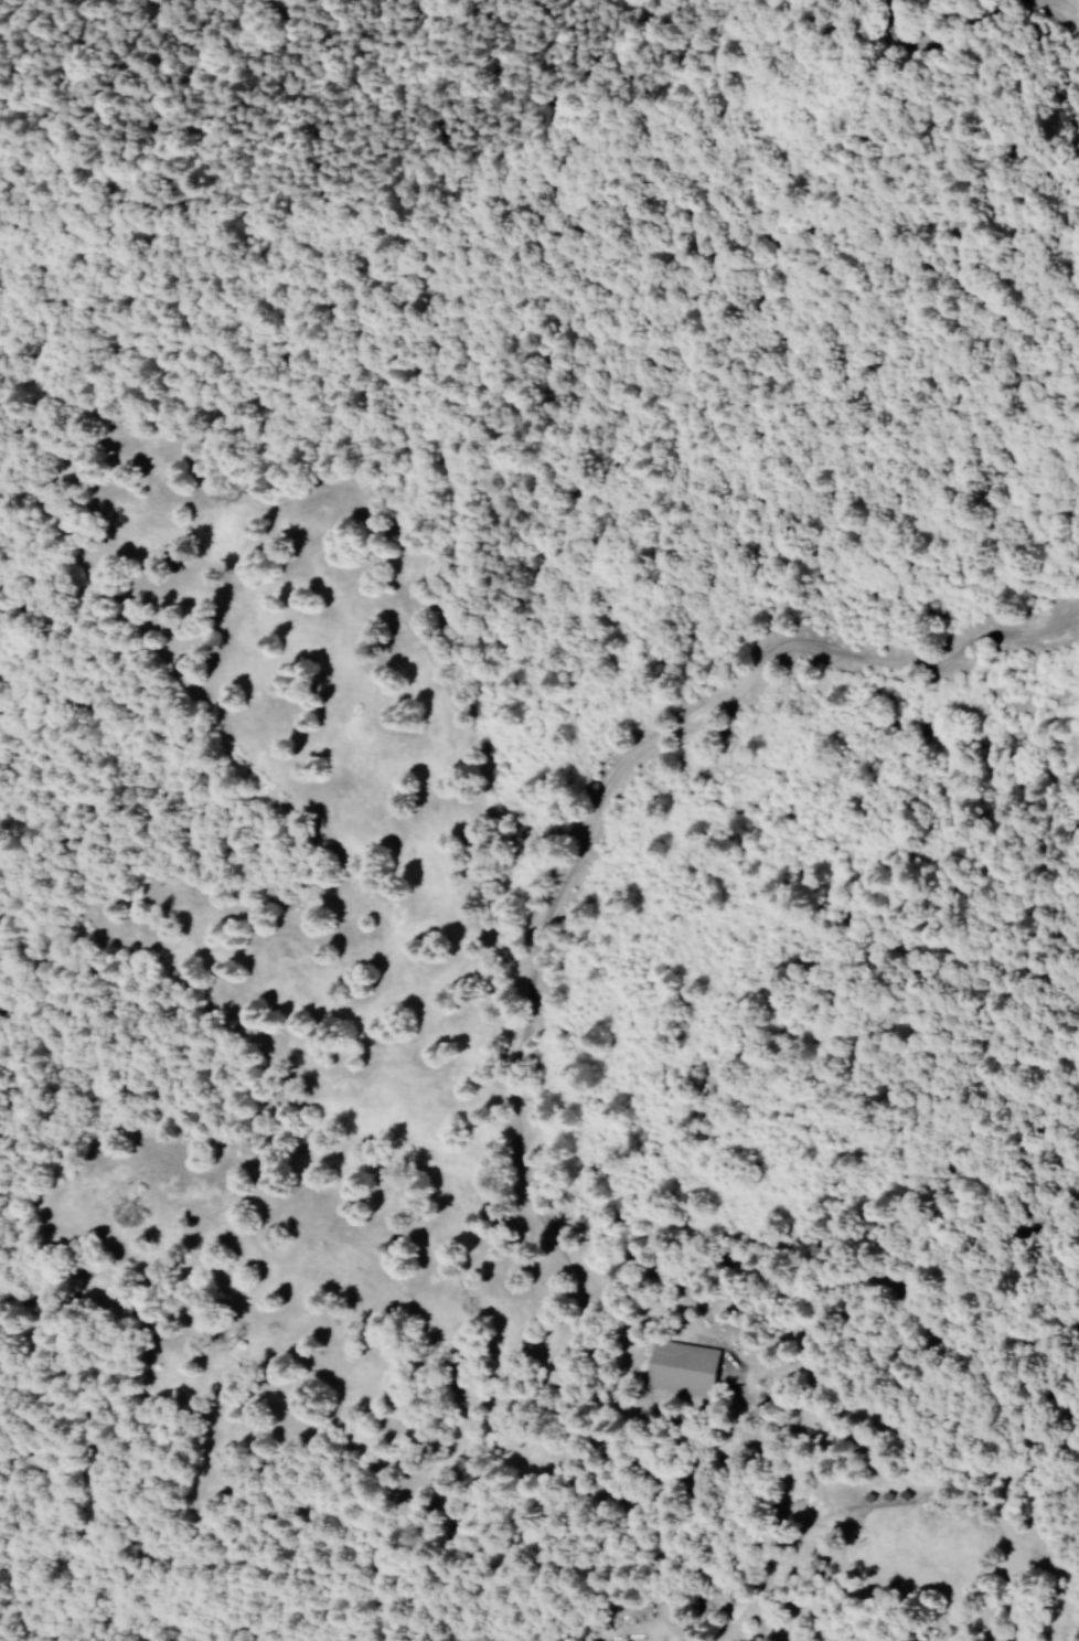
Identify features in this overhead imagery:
road: (979, 34)
road: (616, 770)
building: (687, 1368)

